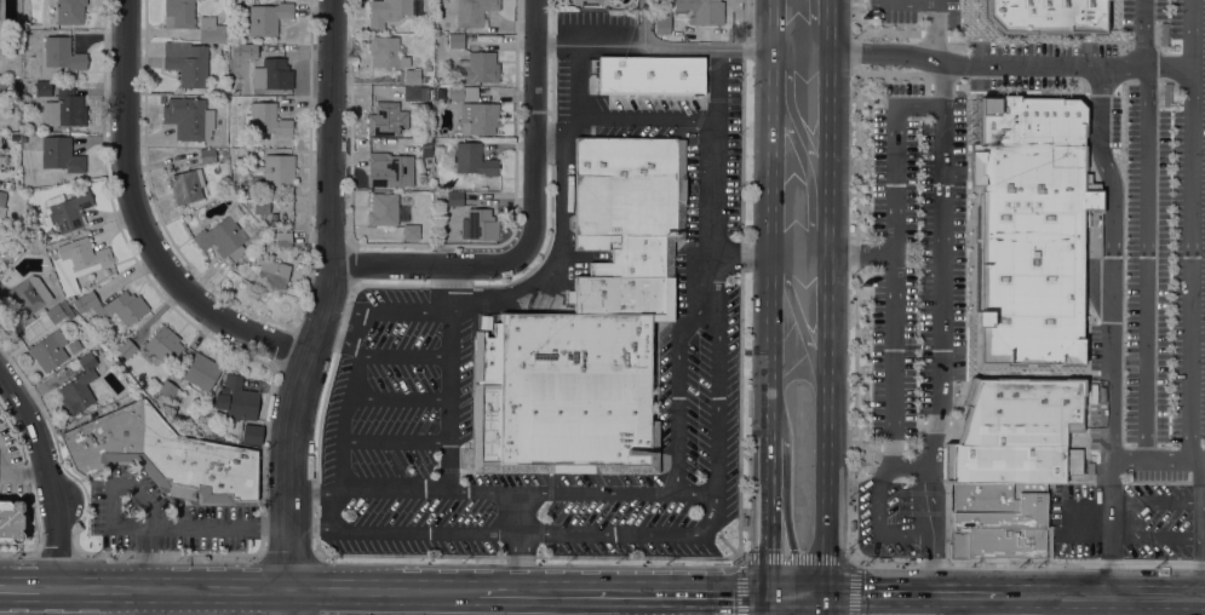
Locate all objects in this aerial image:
road: (912, 0)
building: (591, 2)
building: (70, 11)
building: (390, 11)
building: (474, 11)
building: (702, 11)
building: (178, 13)
building: (1046, 16)
building: (268, 17)
road: (859, 19)
road: (936, 21)
road: (643, 22)
road: (1144, 23)
building: (661, 25)
road: (773, 25)
road: (828, 25)
road: (813, 28)
building: (211, 30)
road: (891, 33)
road: (936, 35)
road: (1039, 35)
building: (2, 36)
road: (957, 38)
road: (1088, 38)
building: (455, 41)
road: (589, 45)
road: (706, 50)
building: (249, 51)
road: (801, 51)
building: (388, 52)
road: (859, 52)
building: (62, 53)
building: (187, 62)
road: (1146, 63)
road: (1010, 64)
road: (1088, 65)
building: (477, 68)
road: (900, 73)
building: (272, 74)
building: (650, 75)
building: (412, 76)
building: (424, 79)
road: (943, 86)
road: (963, 86)
building: (2, 87)
building: (42, 88)
building: (440, 92)
building: (413, 93)
building: (461, 93)
building: (161, 98)
road: (1088, 98)
road: (920, 104)
building: (64, 109)
building: (189, 117)
building: (478, 117)
road: (647, 117)
building: (386, 119)
road: (796, 119)
building: (266, 120)
road: (1100, 130)
building: (23, 137)
road: (549, 137)
road: (969, 137)
road: (771, 153)
road: (826, 153)
building: (61, 154)
building: (207, 155)
building: (472, 159)
building: (394, 167)
building: (279, 169)
road: (807, 172)
road: (712, 180)
building: (185, 185)
building: (454, 199)
building: (1, 205)
building: (260, 206)
building: (383, 208)
road: (563, 209)
building: (67, 211)
building: (187, 218)
road: (142, 220)
building: (272, 220)
building: (629, 222)
building: (478, 225)
road: (534, 225)
road: (942, 226)
building: (1032, 229)
road: (1192, 229)
road: (331, 230)
building: (411, 231)
building: (223, 235)
building: (283, 238)
road: (739, 254)
road: (860, 254)
road: (798, 255)
building: (78, 263)
road: (1147, 270)
building: (271, 274)
road: (894, 283)
building: (25, 295)
building: (114, 306)
building: (58, 311)
road: (388, 311)
road: (799, 321)
road: (354, 328)
building: (126, 333)
road: (340, 340)
building: (163, 344)
building: (74, 345)
road: (770, 345)
building: (125, 349)
building: (48, 350)
road: (404, 356)
road: (1028, 368)
building: (201, 372)
road: (1092, 372)
road: (1027, 374)
road: (451, 377)
building: (79, 386)
building: (168, 392)
road: (1112, 393)
building: (564, 395)
road: (678, 396)
road: (400, 398)
building: (235, 400)
road: (1084, 400)
road: (343, 420)
road: (939, 421)
road: (951, 421)
road: (717, 424)
road: (825, 425)
building: (205, 429)
building: (1018, 432)
building: (251, 433)
road: (918, 436)
road: (396, 441)
road: (870, 447)
road: (893, 447)
building: (161, 454)
road: (1151, 458)
road: (946, 461)
road: (912, 464)
road: (1199, 467)
road: (15, 472)
road: (47, 477)
road: (855, 482)
road: (523, 492)
road: (311, 493)
road: (143, 501)
road: (1157, 501)
road: (289, 502)
road: (931, 504)
road: (333, 510)
road: (769, 515)
road: (1088, 517)
building: (998, 519)
building: (11, 521)
road: (878, 523)
road: (311, 527)
road: (513, 533)
road: (1157, 536)
road: (722, 539)
road: (1203, 539)
road: (518, 541)
road: (17, 551)
road: (56, 551)
road: (168, 553)
road: (287, 556)
road: (437, 556)
road: (740, 557)
road: (856, 557)
road: (798, 561)
road: (569, 565)
road: (289, 569)
road: (31, 574)
road: (174, 590)
road: (384, 591)
road: (622, 592)
traffic signals: (769, 594)
road: (797, 594)
traffic signals: (825, 594)
road: (889, 594)
road: (983, 594)
road: (1109, 596)
road: (30, 600)
road: (63, 602)
road: (140, 602)
road: (184, 602)
road: (220, 602)
road: (289, 602)
road: (535, 603)
road: (656, 604)
road: (722, 604)
road: (769, 604)
road: (776, 604)
road: (825, 604)
road: (1051, 605)
road: (1107, 605)

